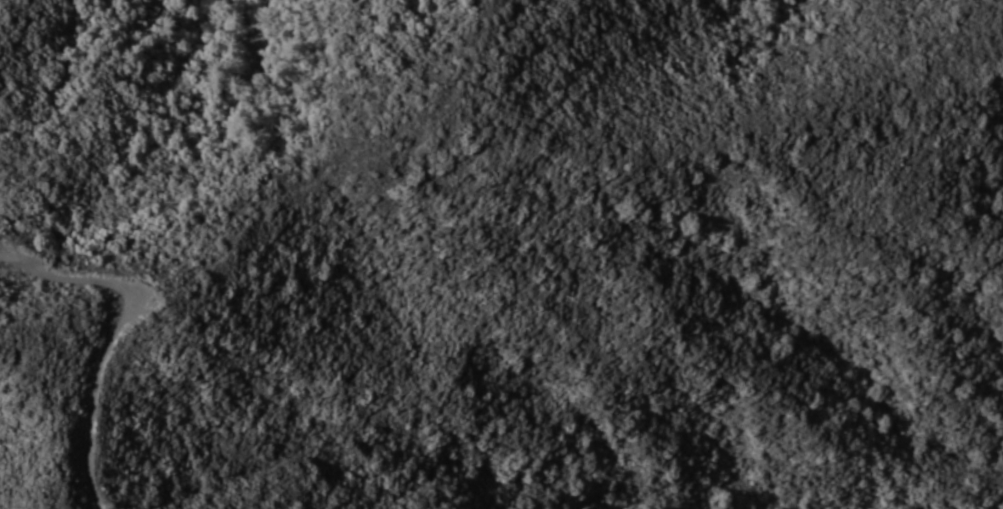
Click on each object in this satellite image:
road: (115, 336)

